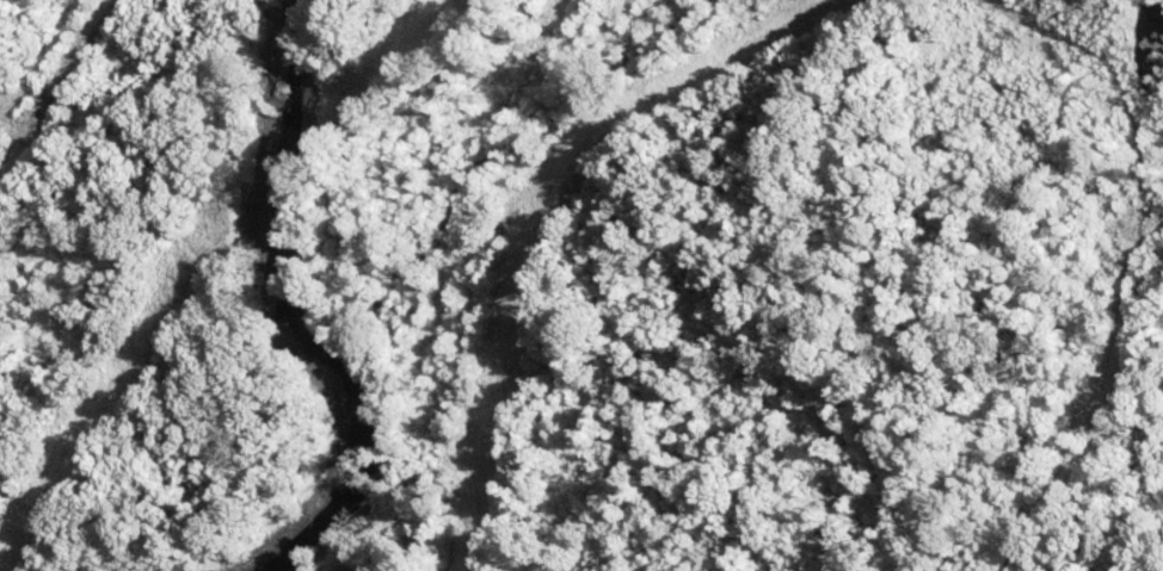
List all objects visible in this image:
railway: (54, 85)

